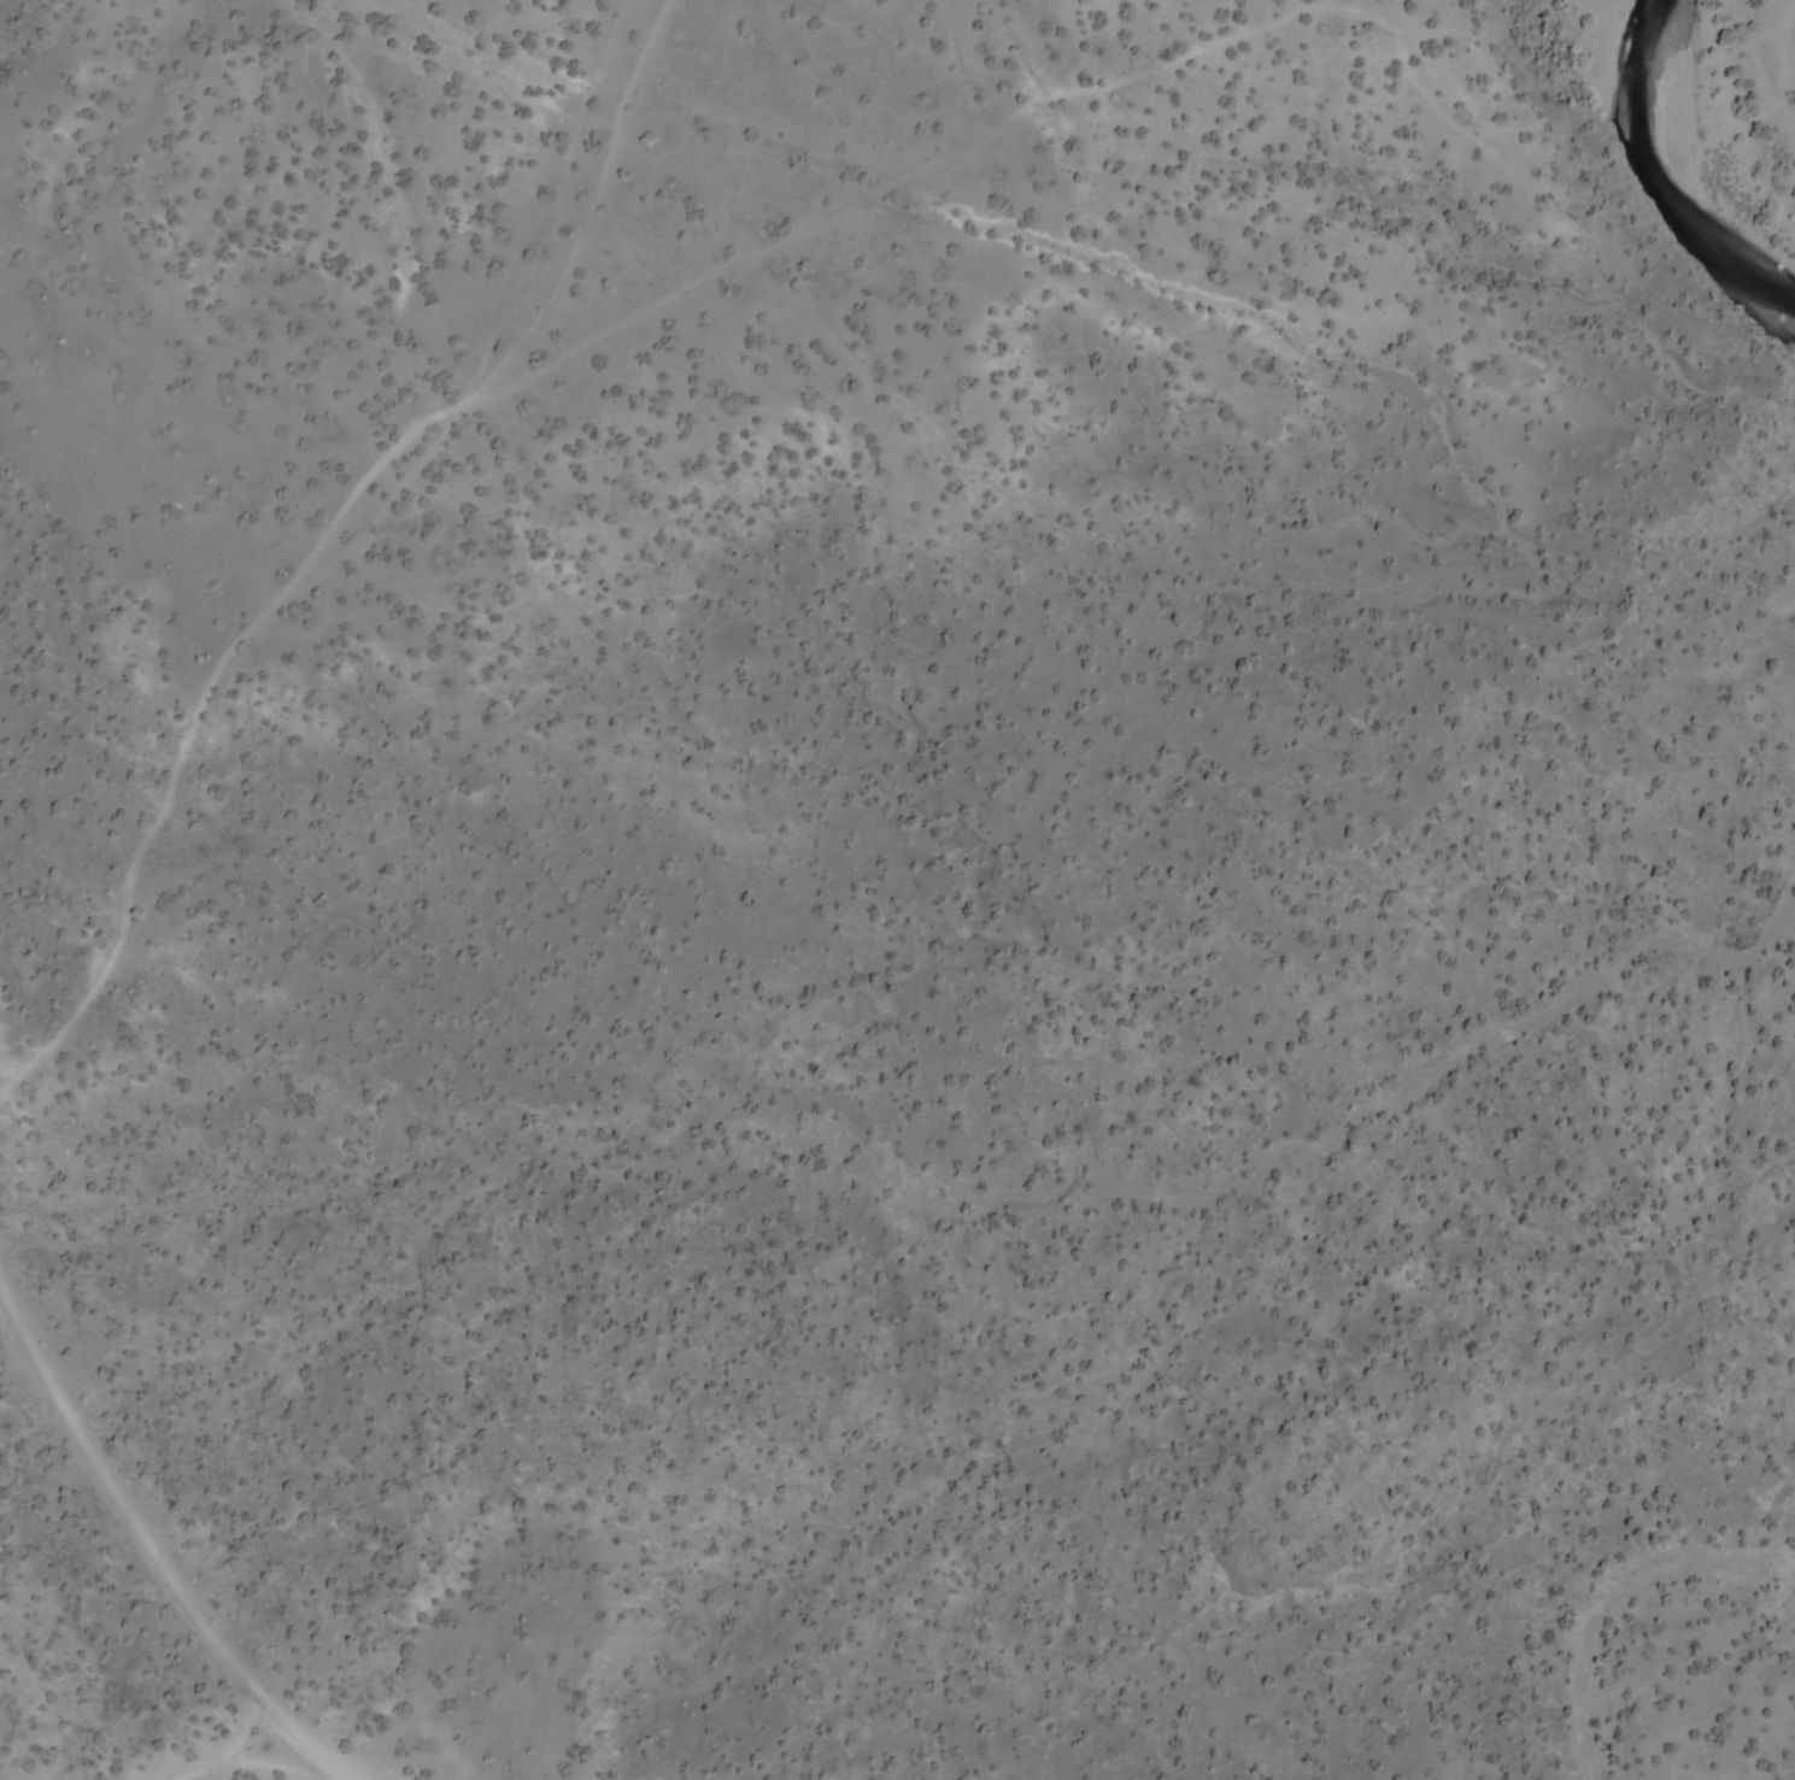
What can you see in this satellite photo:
river: (1660, 176)
road: (345, 529)
road: (194, 1532)
road: (156, 1752)

